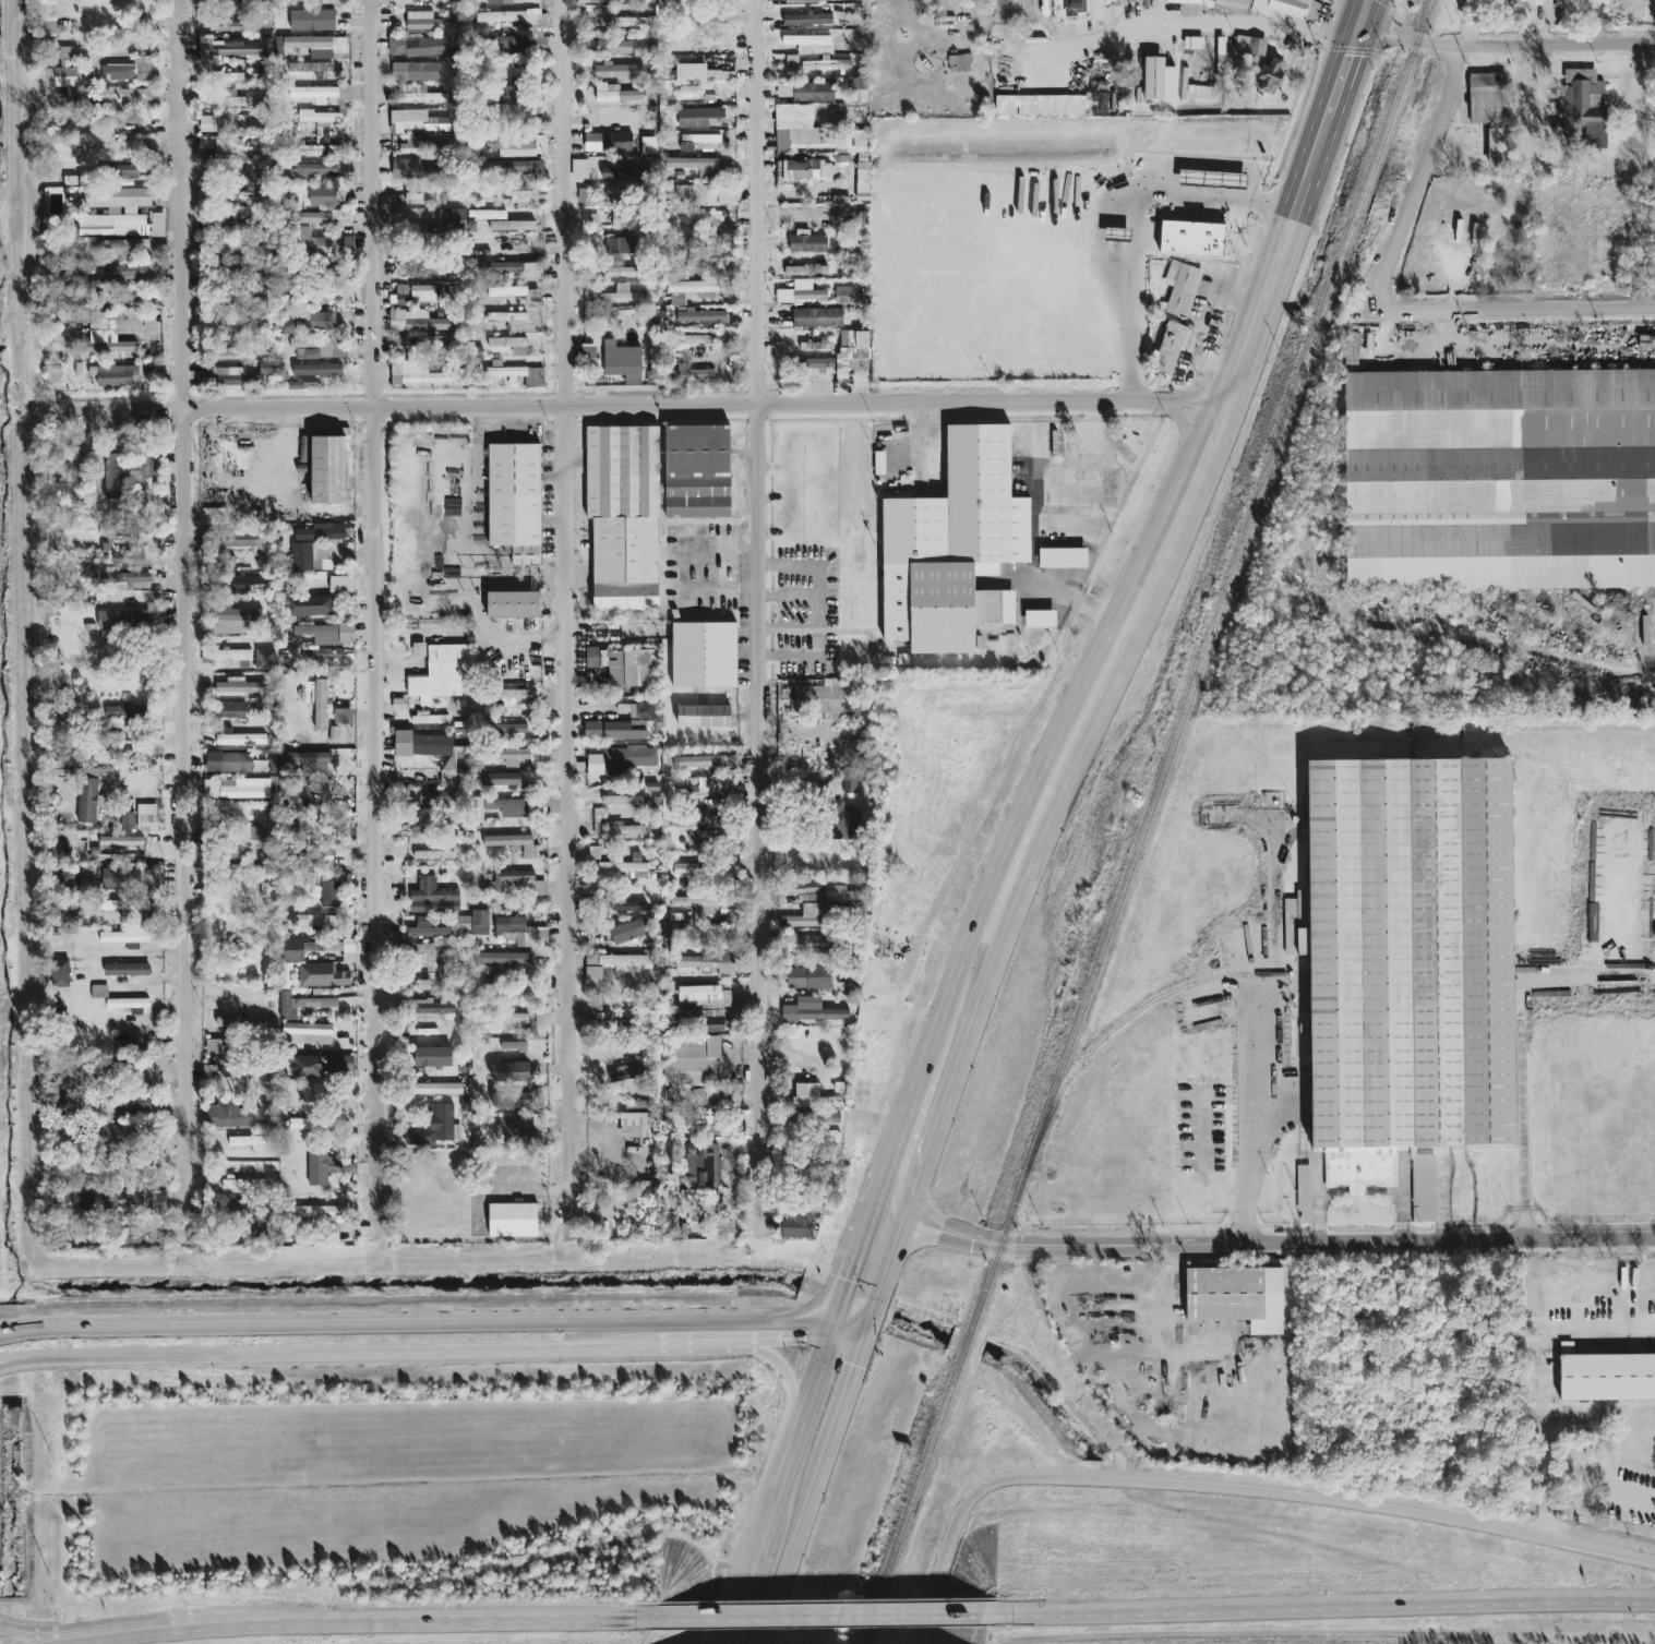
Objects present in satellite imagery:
building: (604, 1)
building: (803, 1)
building: (1135, 1)
building: (499, 2)
building: (1521, 2)
building: (663, 3)
building: (1118, 3)
building: (117, 4)
building: (1187, 7)
building: (1076, 8)
building: (1286, 9)
road: (1365, 11)
building: (48, 19)
building: (516, 20)
building: (808, 20)
building: (312, 21)
building: (428, 22)
traffic signals: (1362, 22)
building: (632, 23)
road: (1174, 25)
building: (228, 27)
road: (1333, 35)
building: (511, 45)
building: (809, 45)
building: (317, 46)
building: (418, 46)
building: (1250, 46)
building: (614, 47)
building: (227, 50)
road: (1504, 57)
building: (827, 64)
building: (310, 68)
building: (61, 71)
building: (128, 71)
building: (620, 71)
building: (415, 72)
building: (691, 72)
building: (717, 75)
building: (1268, 75)
road: (1341, 77)
building: (1159, 81)
building: (697, 91)
building: (813, 93)
building: (320, 94)
building: (616, 94)
building: (859, 94)
building: (419, 95)
building: (128, 96)
building: (1487, 98)
building: (227, 99)
building: (514, 103)
building: (1041, 106)
building: (1584, 106)
building: (698, 118)
building: (418, 122)
building: (223, 123)
building: (321, 123)
building: (799, 140)
building: (608, 143)
building: (700, 143)
building: (123, 145)
building: (491, 145)
building: (217, 146)
building: (523, 146)
building: (421, 147)
building: (247, 148)
building: (1499, 148)
road: (1429, 156)
building: (691, 164)
building: (417, 169)
building: (512, 169)
building: (579, 169)
building: (131, 171)
building: (317, 171)
building: (623, 172)
building: (707, 173)
building: (799, 175)
building: (862, 178)
building: (256, 187)
building: (508, 192)
building: (327, 196)
building: (600, 197)
building: (423, 199)
building: (116, 213)
building: (410, 214)
building: (324, 218)
building: (620, 219)
building: (453, 220)
building: (501, 221)
building: (157, 226)
road: (1136, 227)
building: (1192, 240)
building: (806, 243)
building: (621, 245)
building: (344, 247)
building: (511, 271)
building: (621, 271)
building: (805, 271)
building: (123, 273)
building: (1182, 289)
building: (687, 290)
building: (801, 292)
building: (516, 293)
building: (401, 295)
building: (429, 295)
building: (129, 296)
building: (621, 296)
building: (843, 296)
road: (1515, 312)
building: (698, 316)
building: (496, 317)
building: (817, 319)
building: (326, 321)
building: (419, 322)
building: (518, 323)
building: (108, 331)
building: (699, 340)
building: (431, 344)
building: (511, 345)
building: (401, 346)
building: (1171, 348)
building: (1352, 349)
building: (852, 353)
building: (622, 363)
building: (815, 363)
building: (266, 369)
building: (317, 370)
building: (692, 373)
building: (415, 374)
building: (119, 375)
building: (519, 375)
building: (223, 376)
road: (1197, 398)
road: (611, 407)
road: (1189, 436)
road: (925, 440)
building: (879, 464)
building: (328, 469)
building: (697, 472)
building: (113, 477)
building: (1499, 480)
building: (515, 501)
building: (214, 517)
building: (623, 517)
road: (1173, 523)
building: (120, 530)
building: (322, 533)
building: (240, 542)
building: (954, 547)
building: (310, 557)
building: (1063, 559)
building: (132, 580)
building: (248, 585)
building: (343, 585)
road: (788, 595)
road: (1076, 597)
building: (513, 605)
building: (310, 607)
road: (819, 610)
road: (180, 619)
road: (563, 619)
road: (756, 619)
building: (122, 620)
building: (156, 620)
building: (236, 620)
building: (1040, 620)
road: (374, 623)
road: (788, 628)
building: (327, 633)
building: (419, 650)
building: (704, 656)
building: (233, 657)
building: (325, 657)
building: (265, 660)
building: (623, 667)
building: (441, 674)
building: (597, 677)
building: (239, 686)
building: (514, 695)
building: (821, 697)
building: (320, 705)
building: (230, 710)
building: (640, 711)
building: (124, 712)
building: (343, 717)
building: (704, 717)
building: (428, 718)
building: (512, 728)
building: (615, 731)
building: (241, 740)
building: (403, 743)
building: (117, 744)
building: (513, 756)
building: (304, 758)
building: (446, 758)
building: (619, 759)
building: (705, 761)
building: (228, 763)
building: (501, 780)
building: (850, 784)
building: (707, 785)
building: (236, 789)
building: (440, 801)
building: (622, 801)
building: (89, 802)
building: (519, 808)
building: (146, 817)
building: (703, 818)
building: (128, 820)
building: (599, 820)
building: (842, 821)
railway: (1144, 821)
building: (424, 829)
building: (625, 830)
building: (121, 841)
building: (247, 841)
building: (513, 844)
building: (59, 851)
building: (593, 854)
building: (433, 855)
building: (732, 866)
building: (625, 867)
building: (687, 868)
building: (244, 871)
building: (130, 878)
building: (532, 888)
building: (331, 895)
building: (433, 899)
building: (123, 904)
building: (705, 904)
building: (627, 905)
building: (818, 907)
road: (985, 916)
building: (313, 921)
building: (479, 923)
road: (1000, 923)
building: (461, 926)
building: (425, 929)
building: (632, 932)
building: (523, 933)
building: (124, 937)
building: (809, 945)
building: (239, 946)
building: (292, 950)
building: (349, 950)
building: (503, 959)
building: (707, 962)
road: (959, 963)
building: (432, 964)
building: (614, 964)
building: (1406, 965)
building: (127, 970)
building: (60, 974)
building: (322, 975)
building: (483, 975)
building: (288, 979)
building: (811, 980)
road: (1592, 982)
building: (99, 992)
building: (707, 996)
building: (305, 1003)
building: (128, 1004)
building: (431, 1008)
building: (811, 1011)
railway: (1127, 1016)
road: (1268, 1017)
building: (515, 1020)
building: (712, 1021)
building: (239, 1022)
building: (612, 1023)
building: (307, 1034)
road: (933, 1037)
building: (130, 1043)
building: (218, 1048)
building: (635, 1055)
building: (432, 1057)
building: (688, 1063)
building: (320, 1066)
road: (959, 1066)
building: (221, 1071)
building: (509, 1072)
building: (627, 1078)
building: (436, 1090)
building: (813, 1097)
building: (513, 1101)
building: (131, 1102)
building: (71, 1107)
road: (906, 1113)
building: (236, 1116)
building: (709, 1124)
building: (313, 1125)
building: (640, 1126)
building: (511, 1127)
building: (435, 1128)
building: (110, 1135)
building: (247, 1142)
road: (898, 1157)
road: (888, 1161)
building: (703, 1165)
building: (325, 1167)
road: (1203, 1178)
building: (243, 1185)
building: (1304, 1195)
building: (133, 1198)
road: (896, 1198)
building: (158, 1200)
building: (80, 1201)
road: (910, 1207)
building: (316, 1212)
road: (932, 1215)
building: (513, 1221)
building: (799, 1224)
building: (257, 1228)
road: (928, 1236)
road: (1305, 1245)
road: (855, 1248)
road: (882, 1283)
traffic signals: (842, 1287)
building: (1236, 1297)
road: (431, 1325)
road: (1582, 1325)
road: (802, 1342)
traffic signals: (805, 1342)
road: (1168, 1342)
road: (699, 1344)
road: (326, 1352)
traffic signals: (851, 1367)
building: (1607, 1378)
road: (788, 1379)
road: (842, 1393)
road: (1544, 1452)
road: (777, 1483)
road: (1233, 1487)
road: (791, 1546)
road: (1323, 1606)
road: (825, 1616)
road: (484, 1621)
road: (283, 1623)
road: (175, 1625)
road: (21, 1631)
road: (68, 1633)
road: (76, 1639)

